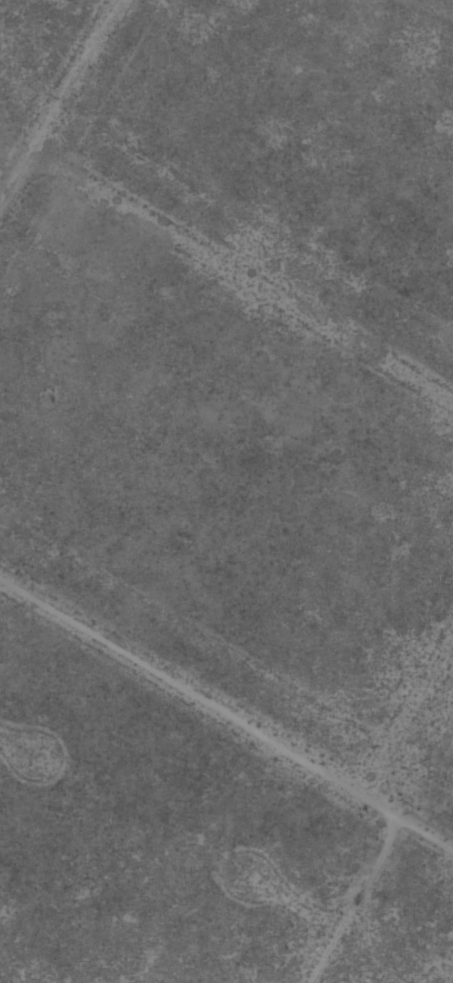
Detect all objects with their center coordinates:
road: (221, 630)

